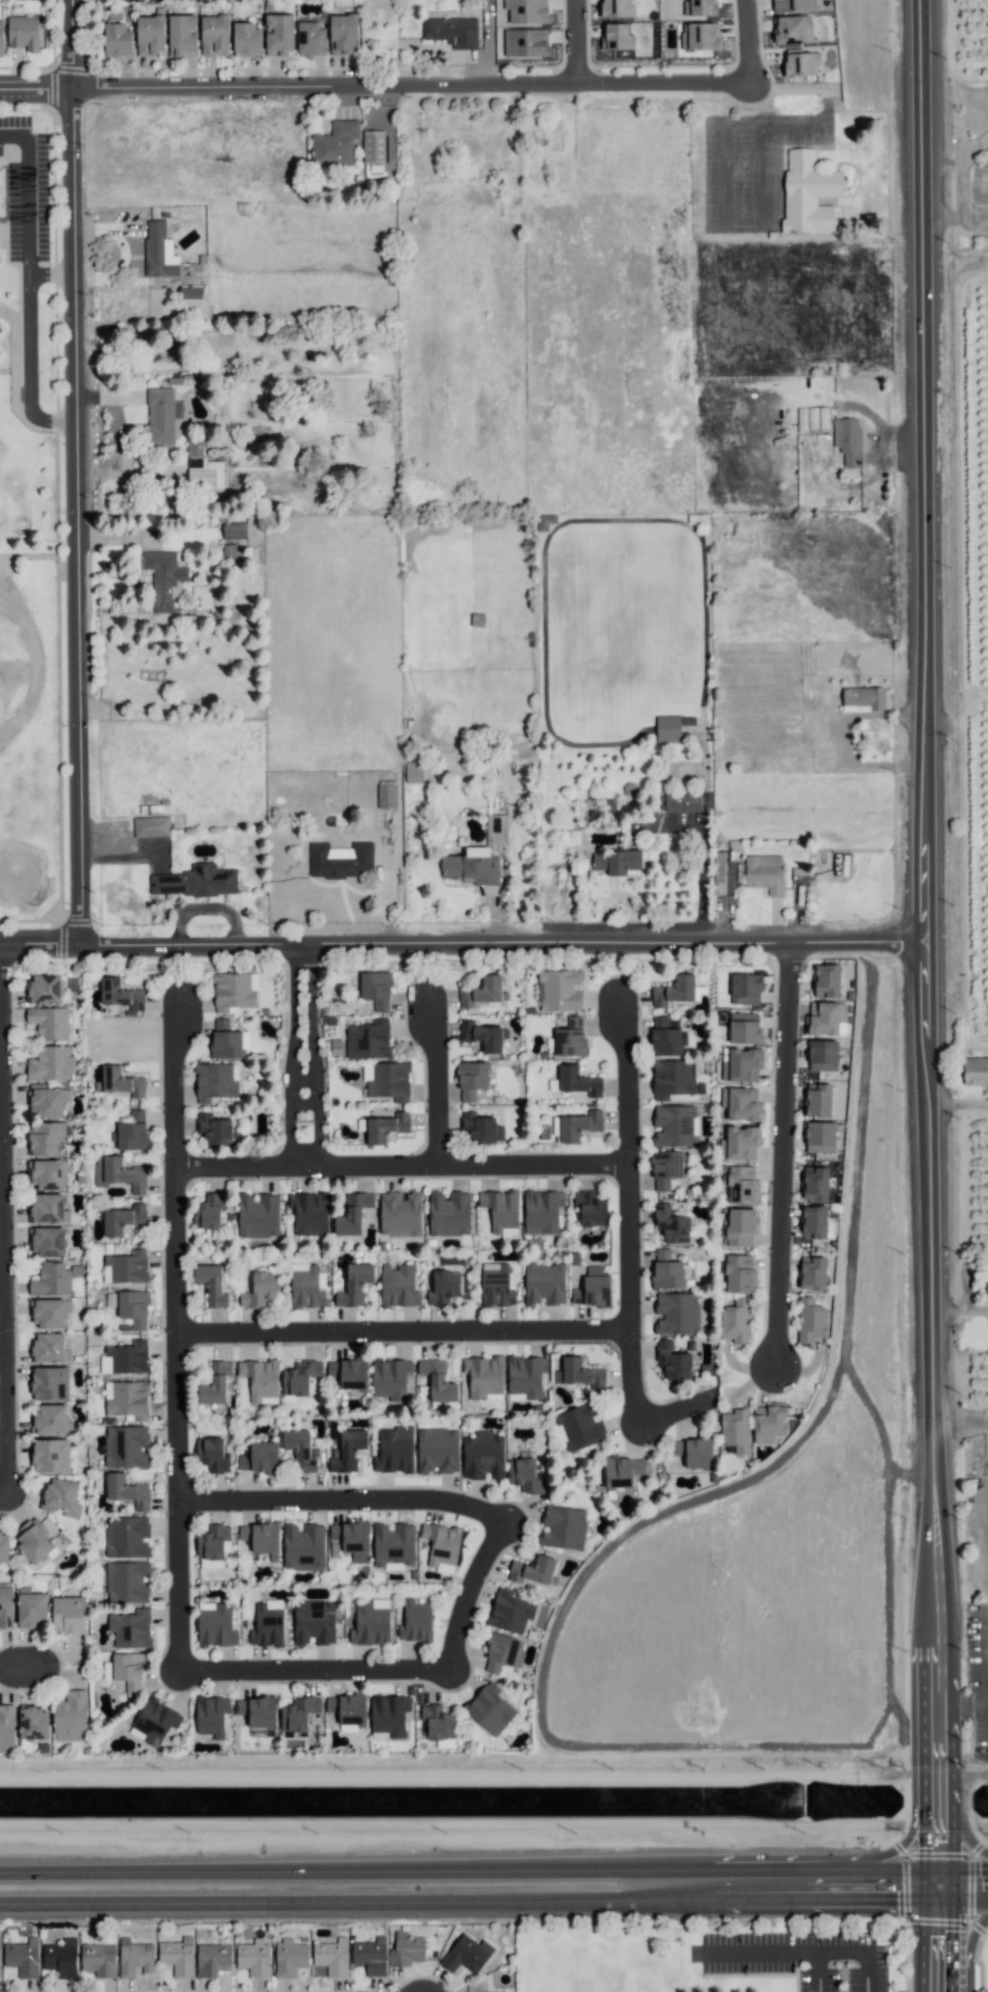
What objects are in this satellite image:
building: (792, 5)
building: (617, 8)
building: (700, 8)
building: (527, 11)
building: (793, 29)
building: (452, 31)
building: (23, 32)
building: (344, 33)
building: (150, 34)
building: (182, 35)
building: (215, 35)
building: (279, 35)
building: (701, 36)
building: (311, 37)
building: (617, 37)
building: (1, 38)
building: (246, 38)
building: (118, 40)
building: (526, 42)
road: (573, 42)
crop: (959, 46)
building: (802, 64)
road: (454, 86)
road: (39, 91)
road: (798, 123)
building: (335, 144)
building: (373, 146)
building: (808, 193)
road: (28, 194)
parking lot: (22, 199)
road: (720, 203)
building: (159, 251)
building: (190, 292)
road: (30, 346)
building: (160, 415)
building: (848, 440)
road: (817, 459)
building: (205, 465)
road: (83, 472)
building: (545, 521)
building: (234, 530)
building: (230, 552)
building: (164, 578)
crop: (960, 644)
building: (863, 699)
building: (668, 728)
road: (845, 739)
building: (413, 772)
building: (386, 794)
building: (680, 803)
building: (151, 826)
building: (497, 830)
park: (26, 849)
building: (340, 860)
building: (617, 861)
building: (471, 866)
building: (765, 873)
building: (195, 881)
road: (465, 940)
road: (930, 947)
building: (827, 981)
building: (45, 988)
building: (746, 988)
building: (376, 989)
building: (560, 990)
building: (234, 991)
building: (674, 991)
building: (482, 992)
building: (120, 994)
building: (825, 1018)
building: (49, 1022)
building: (745, 1028)
building: (483, 1036)
building: (664, 1037)
building: (570, 1038)
building: (368, 1039)
building: (225, 1040)
road: (302, 1054)
building: (823, 1055)
building: (51, 1064)
building: (741, 1064)
building: (975, 1071)
building: (672, 1078)
building: (387, 1080)
building: (471, 1080)
road: (624, 1080)
building: (120, 1081)
building: (579, 1081)
road: (172, 1082)
building: (216, 1082)
road: (434, 1082)
building: (818, 1099)
building: (48, 1102)
building: (741, 1104)
road: (960, 1106)
building: (576, 1126)
building: (674, 1126)
building: (384, 1127)
building: (482, 1128)
building: (214, 1129)
building: (131, 1132)
building: (820, 1137)
building: (47, 1138)
building: (740, 1143)
road: (771, 1158)
road: (398, 1165)
building: (666, 1168)
building: (48, 1173)
building: (118, 1173)
building: (815, 1183)
building: (742, 1185)
building: (591, 1208)
building: (48, 1209)
building: (501, 1209)
building: (209, 1211)
building: (542, 1211)
building: (309, 1212)
building: (449, 1213)
building: (353, 1214)
building: (400, 1214)
building: (258, 1215)
building: (123, 1219)
building: (814, 1222)
building: (671, 1225)
building: (740, 1227)
building: (47, 1241)
building: (128, 1266)
building: (667, 1270)
building: (812, 1273)
building: (739, 1274)
building: (51, 1280)
building: (987, 1283)
building: (211, 1284)
building: (544, 1284)
building: (355, 1285)
building: (497, 1285)
building: (307, 1286)
building: (399, 1286)
building: (444, 1287)
building: (260, 1289)
building: (593, 1289)
road: (626, 1294)
building: (134, 1308)
building: (50, 1312)
building: (677, 1313)
building: (811, 1320)
building: (736, 1321)
road: (401, 1331)
building: (125, 1358)
building: (672, 1361)
building: (349, 1373)
building: (579, 1373)
building: (300, 1377)
building: (484, 1377)
building: (525, 1377)
building: (391, 1378)
building: (260, 1379)
building: (438, 1380)
building: (50, 1383)
building: (216, 1383)
building: (127, 1399)
road: (673, 1412)
road: (175, 1418)
building: (49, 1420)
building: (769, 1422)
road: (961, 1423)
building: (579, 1426)
building: (736, 1430)
crop: (966, 1442)
building: (126, 1446)
building: (301, 1450)
building: (348, 1450)
building: (395, 1450)
building: (438, 1451)
building: (694, 1452)
building: (51, 1455)
building: (212, 1455)
building: (483, 1455)
building: (260, 1457)
building: (622, 1471)
building: (526, 1476)
building: (127, 1491)
building: (61, 1497)
road: (339, 1500)
building: (563, 1527)
building: (127, 1537)
building: (262, 1538)
building: (352, 1539)
building: (35, 1542)
building: (213, 1542)
building: (393, 1545)
building: (4, 1546)
building: (304, 1546)
building: (441, 1546)
building: (532, 1570)
building: (127, 1582)
road: (461, 1592)
building: (6, 1607)
building: (31, 1610)
building: (510, 1611)
road: (985, 1613)
building: (69, 1615)
building: (415, 1621)
building: (314, 1622)
building: (371, 1623)
building: (267, 1624)
building: (215, 1625)
building: (131, 1629)
building: (503, 1652)
road: (16, 1664)
building: (126, 1670)
road: (309, 1670)
building: (490, 1709)
building: (348, 1710)
building: (258, 1711)
building: (298, 1713)
building: (211, 1715)
building: (389, 1715)
building: (71, 1717)
building: (155, 1722)
building: (34, 1723)
building: (438, 1725)
building: (7, 1728)
road: (961, 1833)
road: (866, 1859)
road: (309, 1870)
road: (640, 1876)
road: (963, 1882)
road: (800, 1883)
road: (616, 1896)
road: (284, 1897)
road: (939, 1943)
road: (968, 1949)
building: (407, 1950)
building: (467, 1954)
building: (178, 1956)
building: (371, 1956)
building: (23, 1957)
building: (135, 1957)
building: (290, 1957)
building: (332, 1957)
building: (61, 1958)
building: (254, 1958)
building: (98, 1959)
building: (212, 1959)

